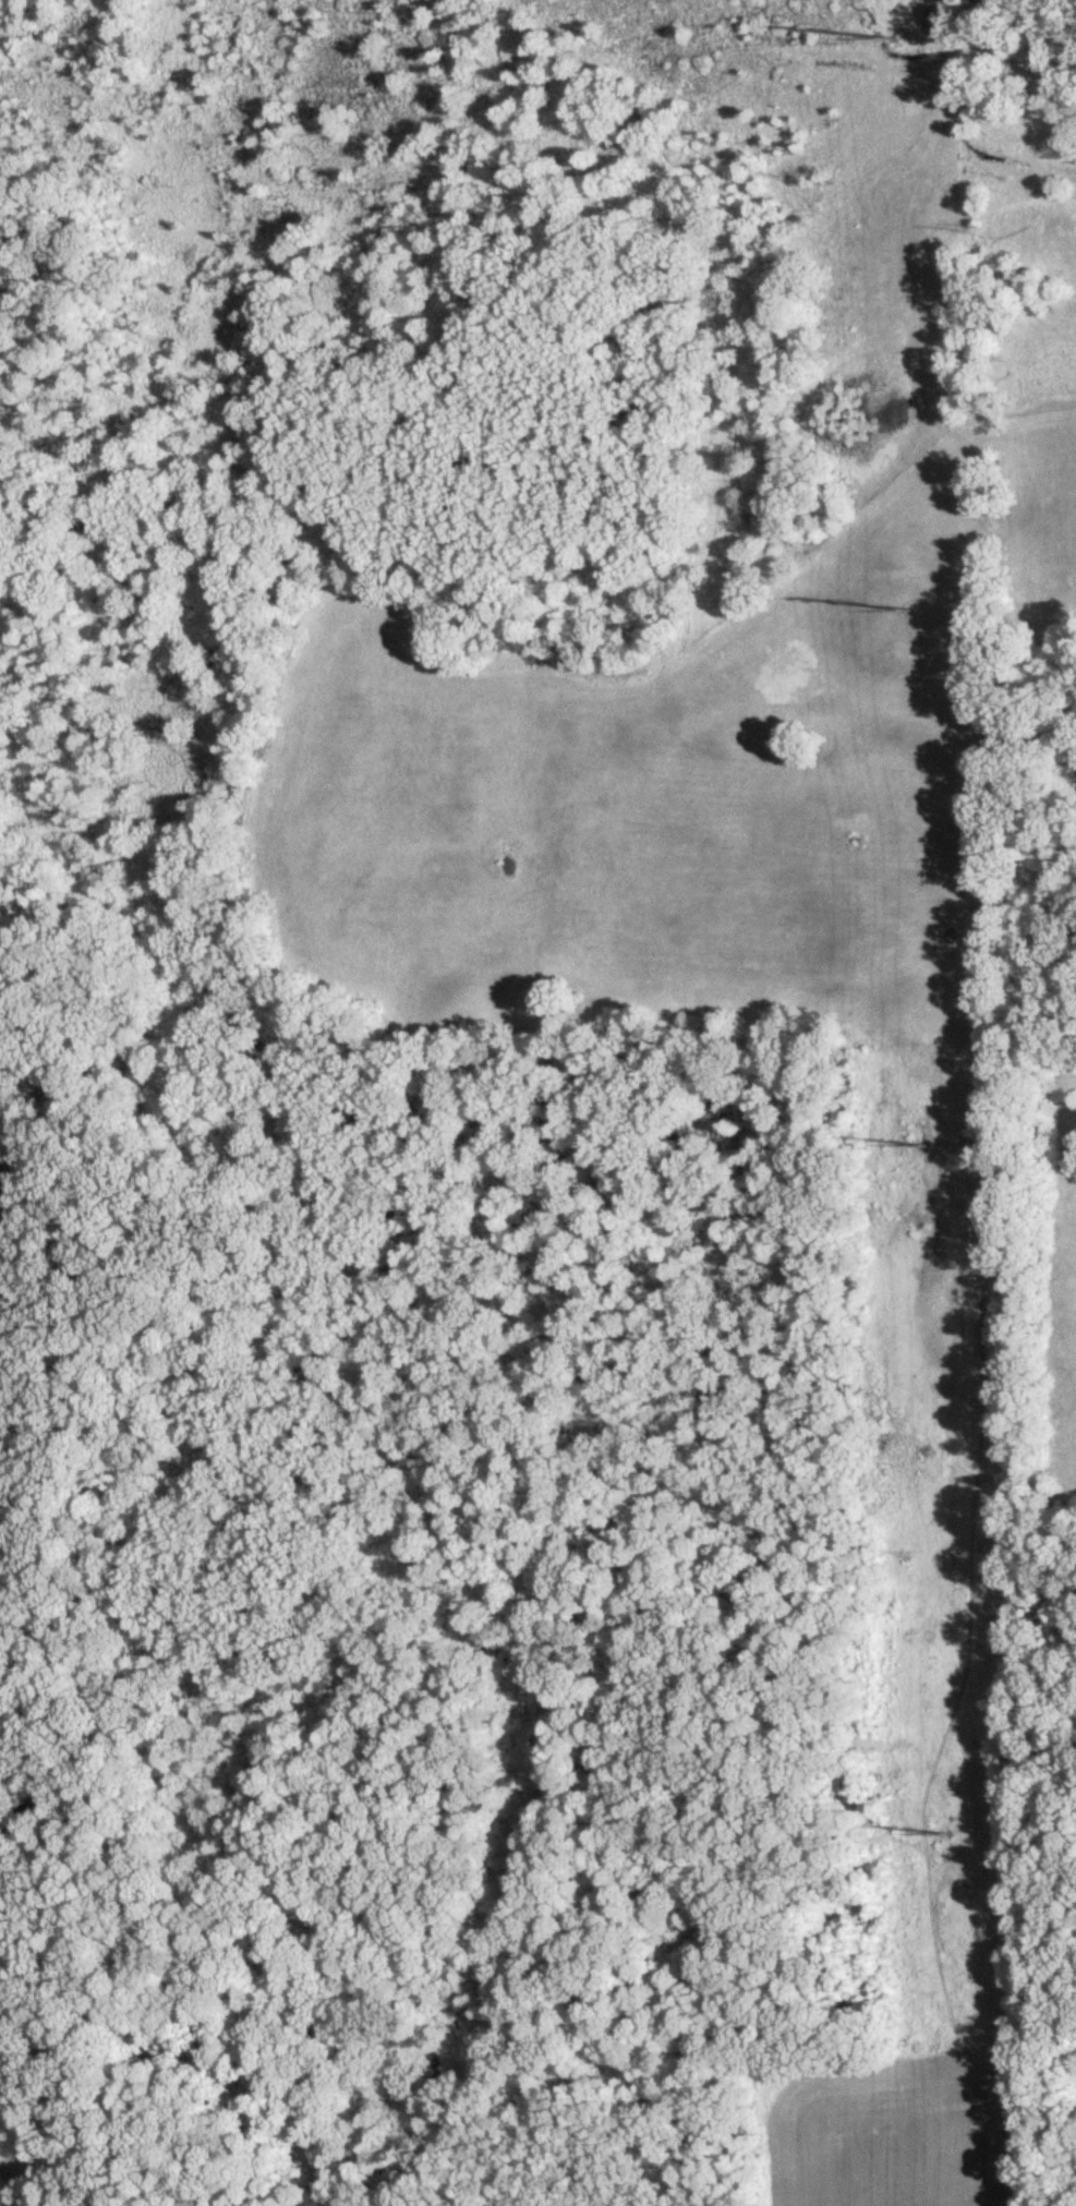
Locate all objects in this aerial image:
power tower: (894, 37)
power tower: (911, 611)
power tower: (927, 1145)
power tower: (950, 1832)

